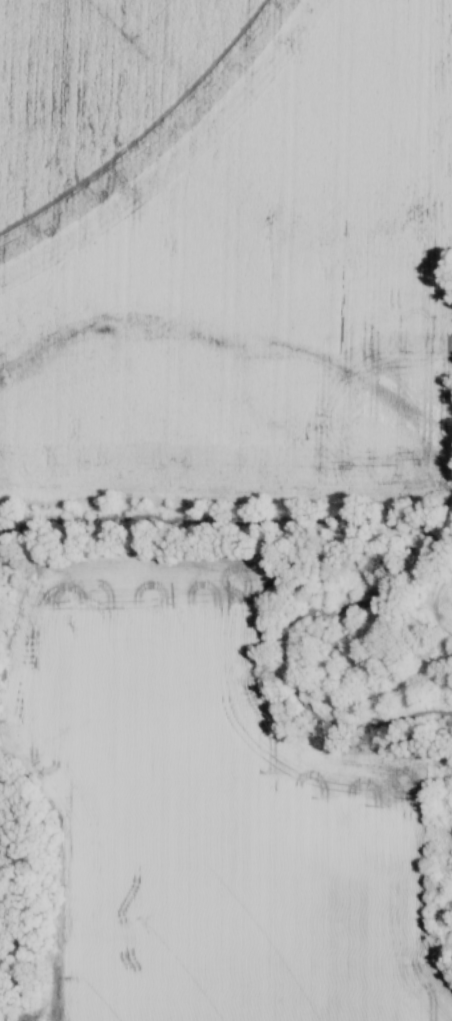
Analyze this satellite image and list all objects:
river: (427, 533)
crop: (207, 809)

